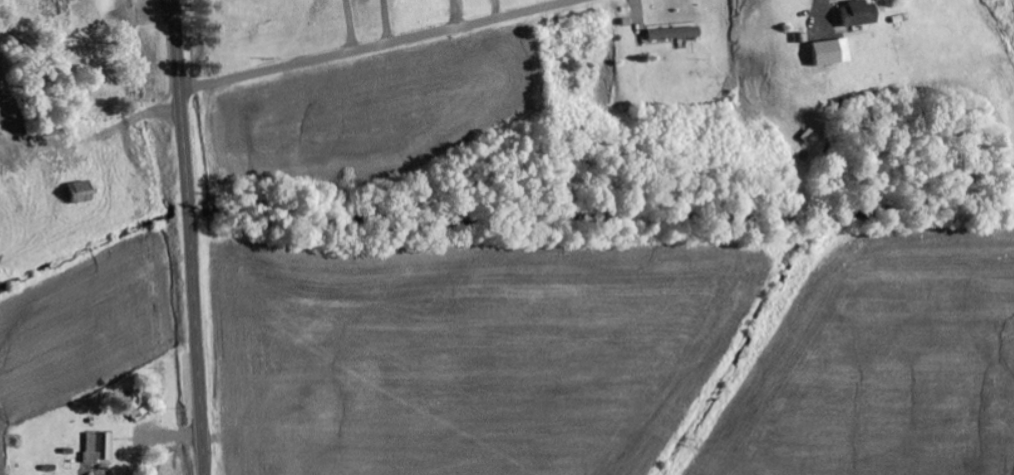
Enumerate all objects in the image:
building: (860, 15)
building: (672, 36)
road: (379, 47)
building: (832, 54)
building: (83, 193)
road: (189, 237)
building: (137, 407)
building: (99, 448)

